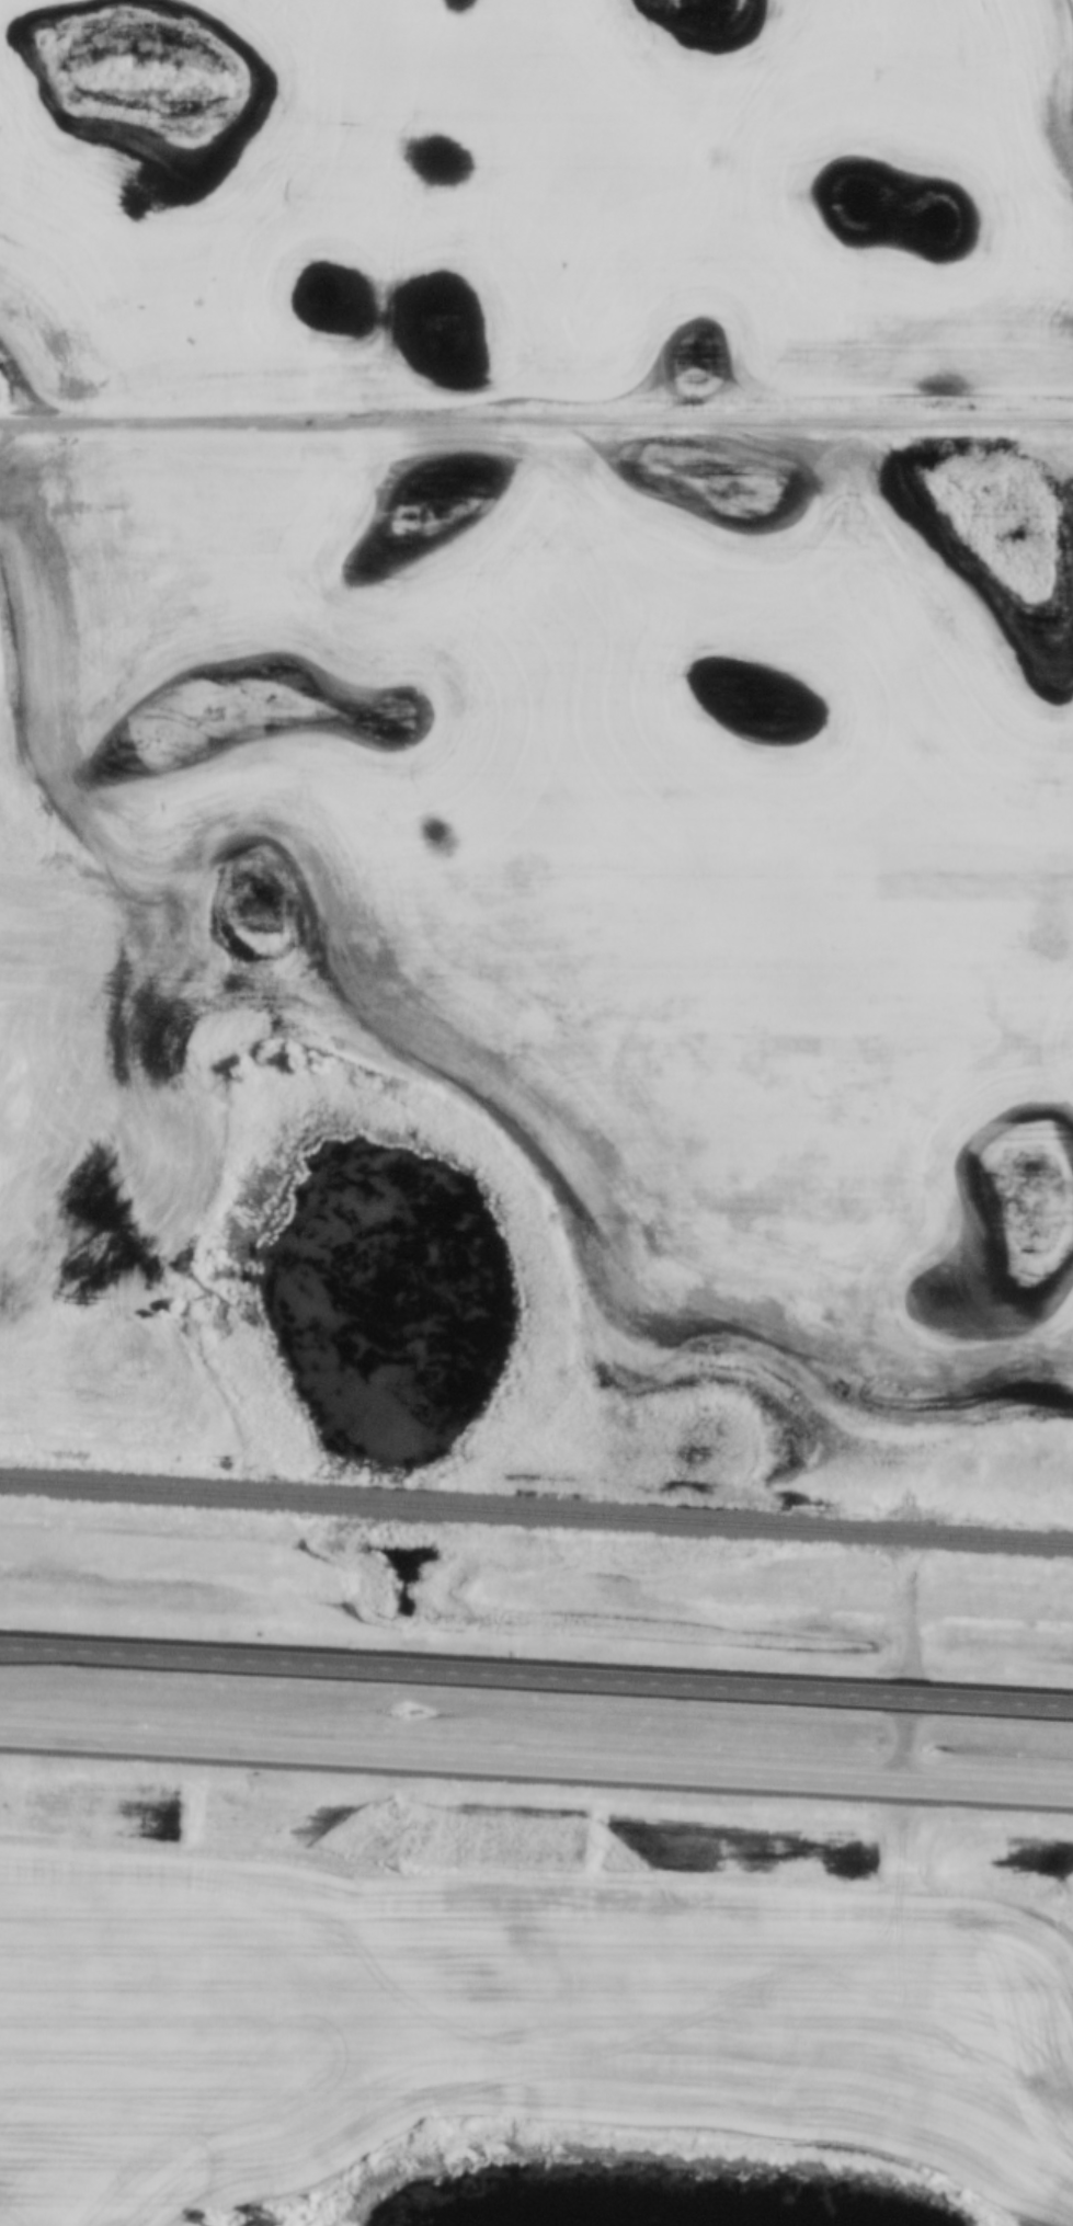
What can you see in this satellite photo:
road: (536, 421)
railway: (536, 1511)
road: (910, 1594)
road: (536, 1673)
road: (903, 1739)
road: (536, 1761)

